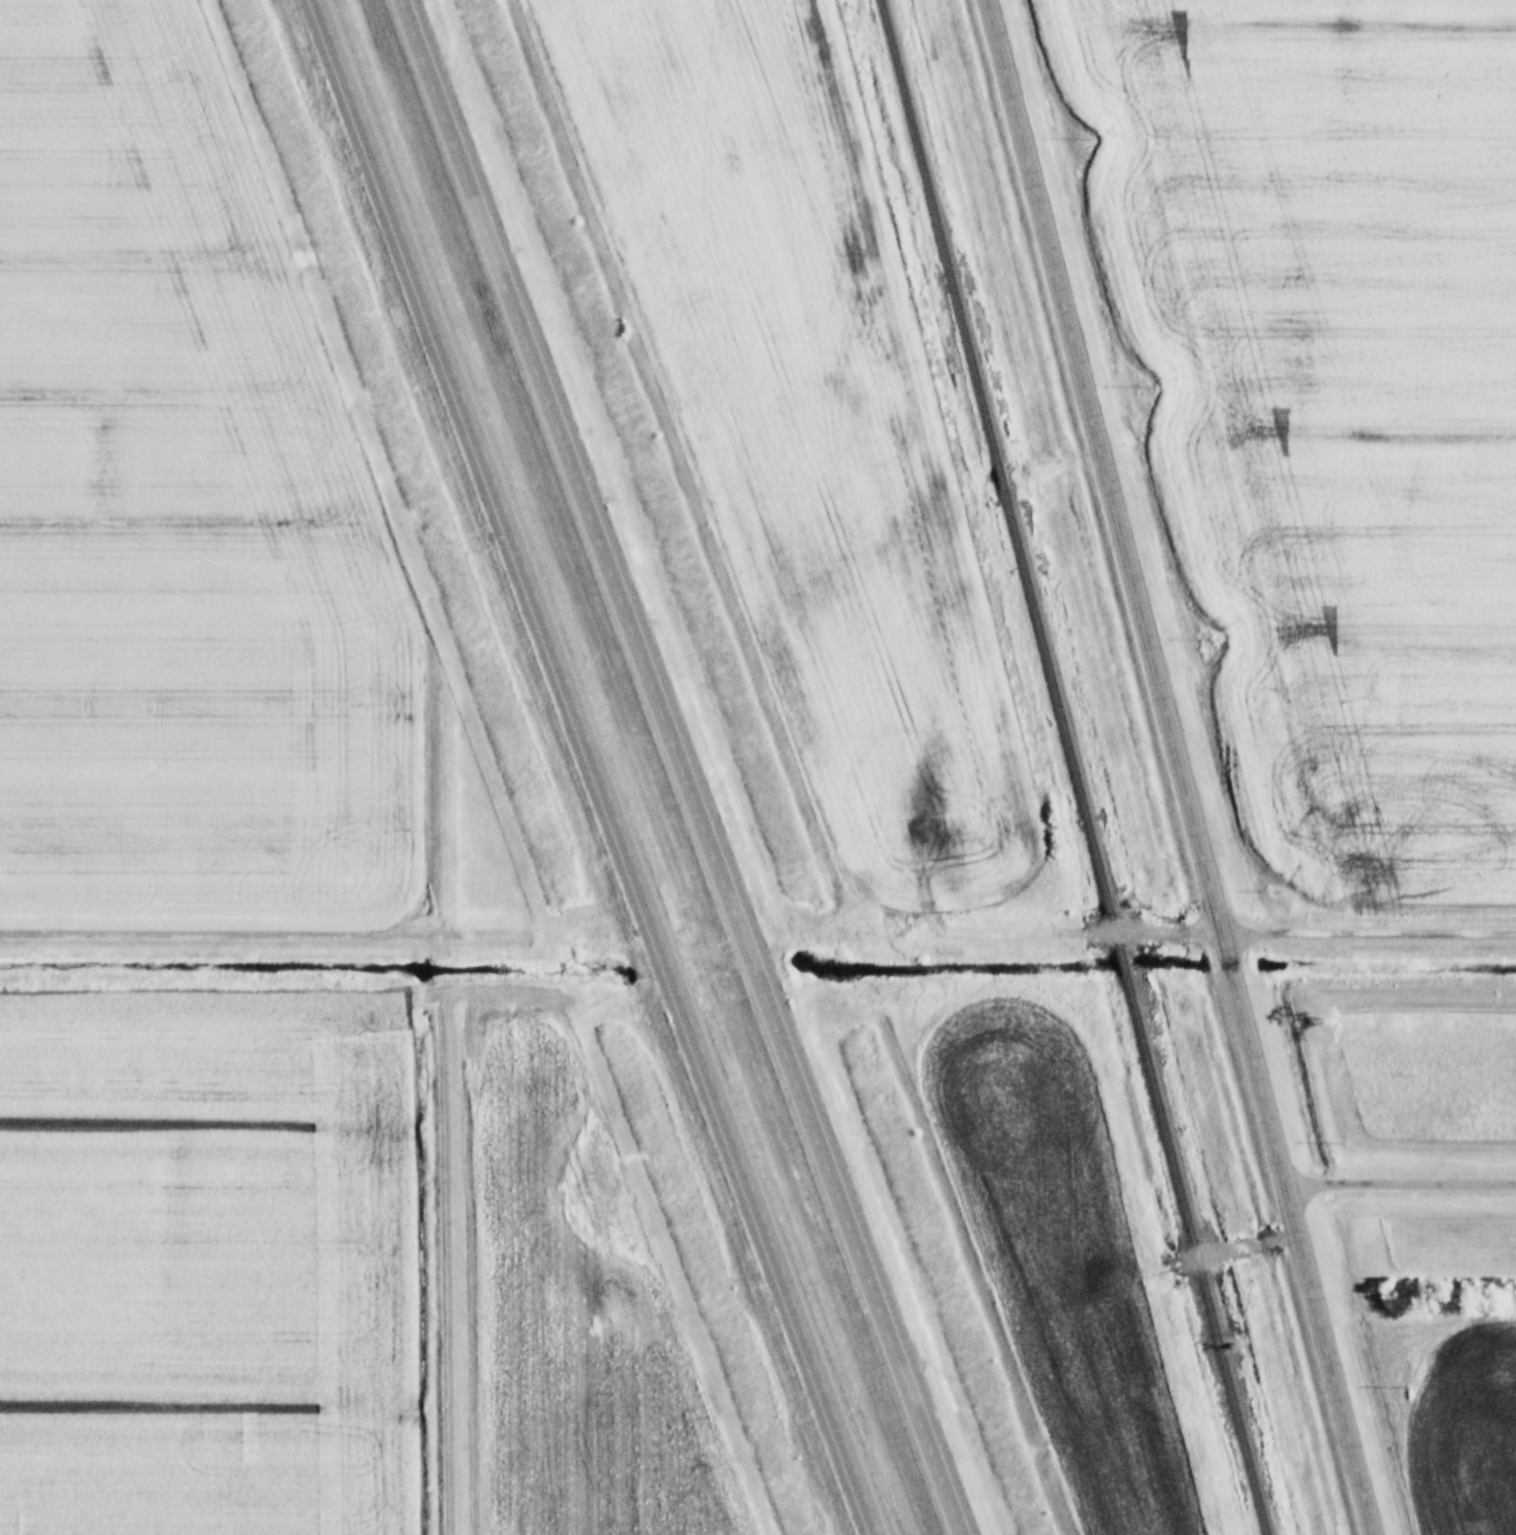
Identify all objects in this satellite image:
crop: (1286, 95)
railway: (942, 230)
crop: (798, 421)
railway: (1000, 476)
crop: (1341, 518)
railway: (1061, 719)
road: (598, 766)
road: (682, 766)
road: (1180, 767)
road: (1368, 923)
road: (255, 929)
road: (1068, 932)
railway: (1122, 962)
road: (1398, 1181)
railway: (1196, 1255)
road: (452, 1259)
road: (1181, 1259)
crop: (205, 1273)
crop: (575, 1320)
crop: (1467, 1434)

